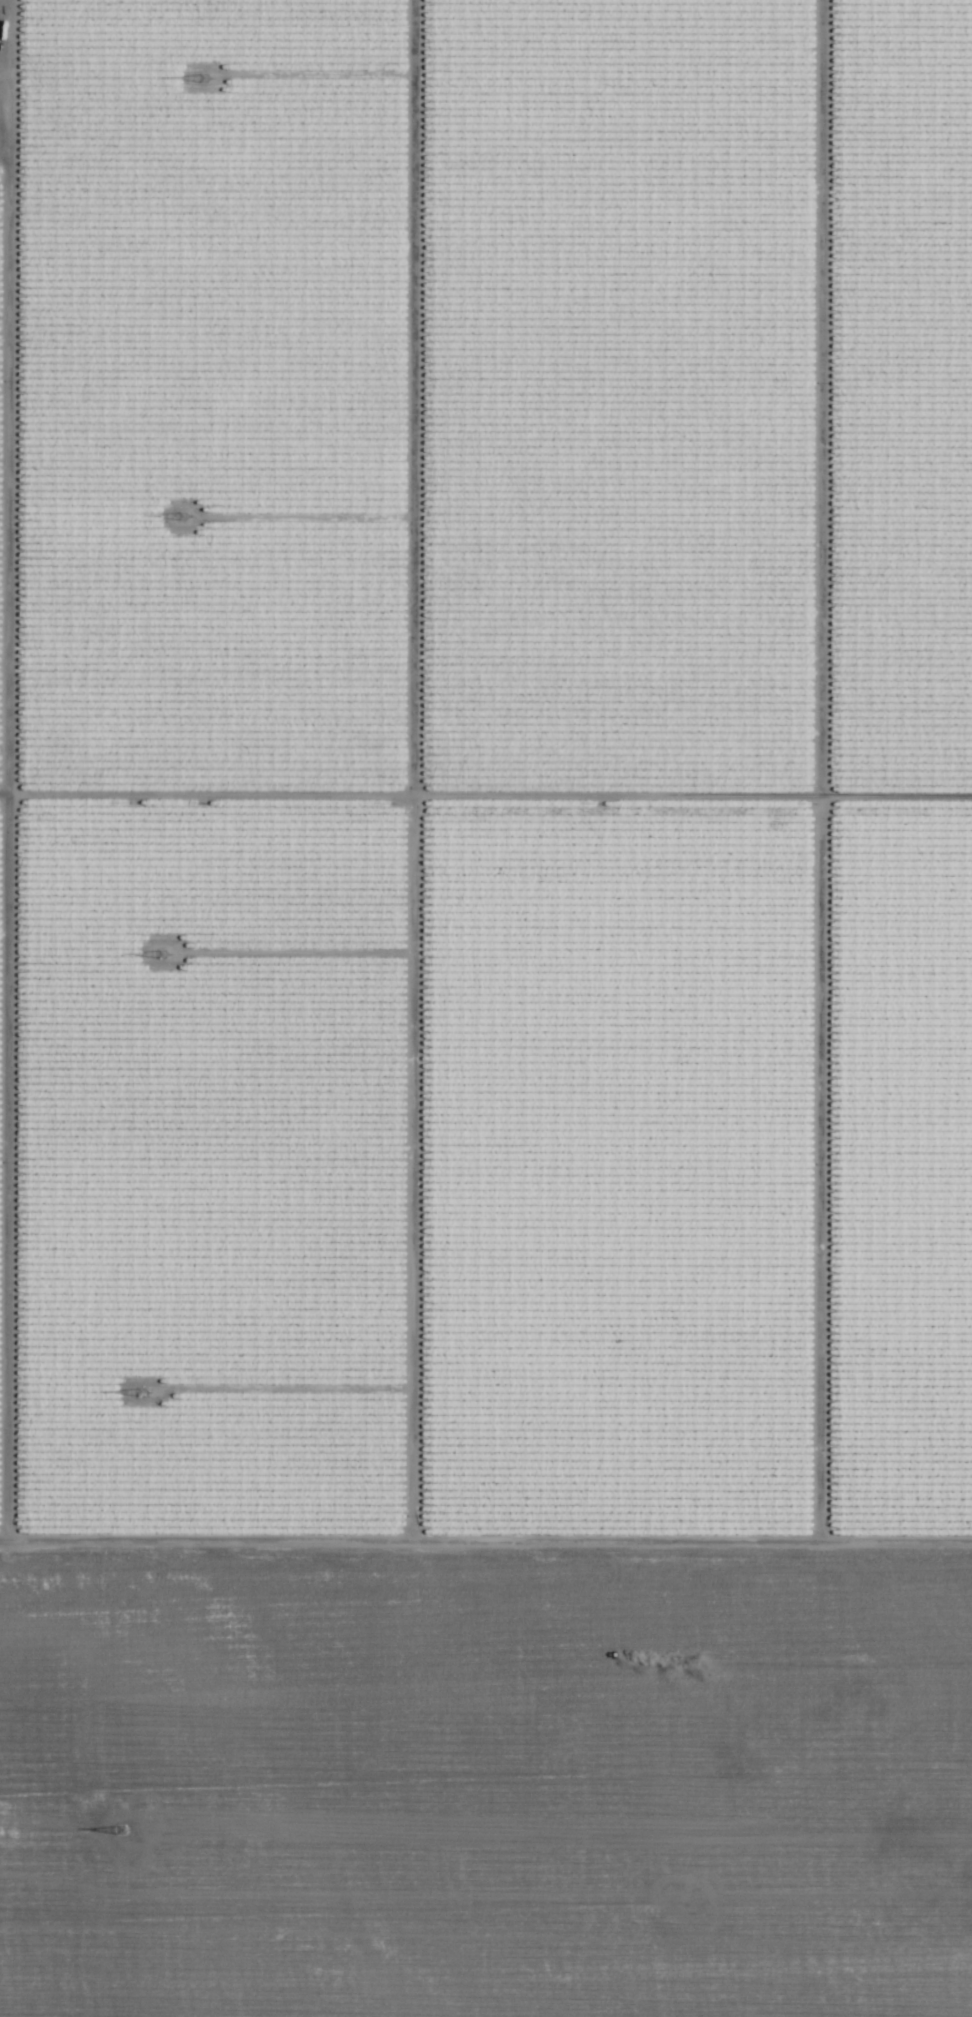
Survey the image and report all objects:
power tower: (206, 80)
power tower: (184, 517)
road: (486, 826)
power tower: (164, 960)
crop: (486, 1008)
power tower: (145, 1392)
power tower: (123, 1833)

